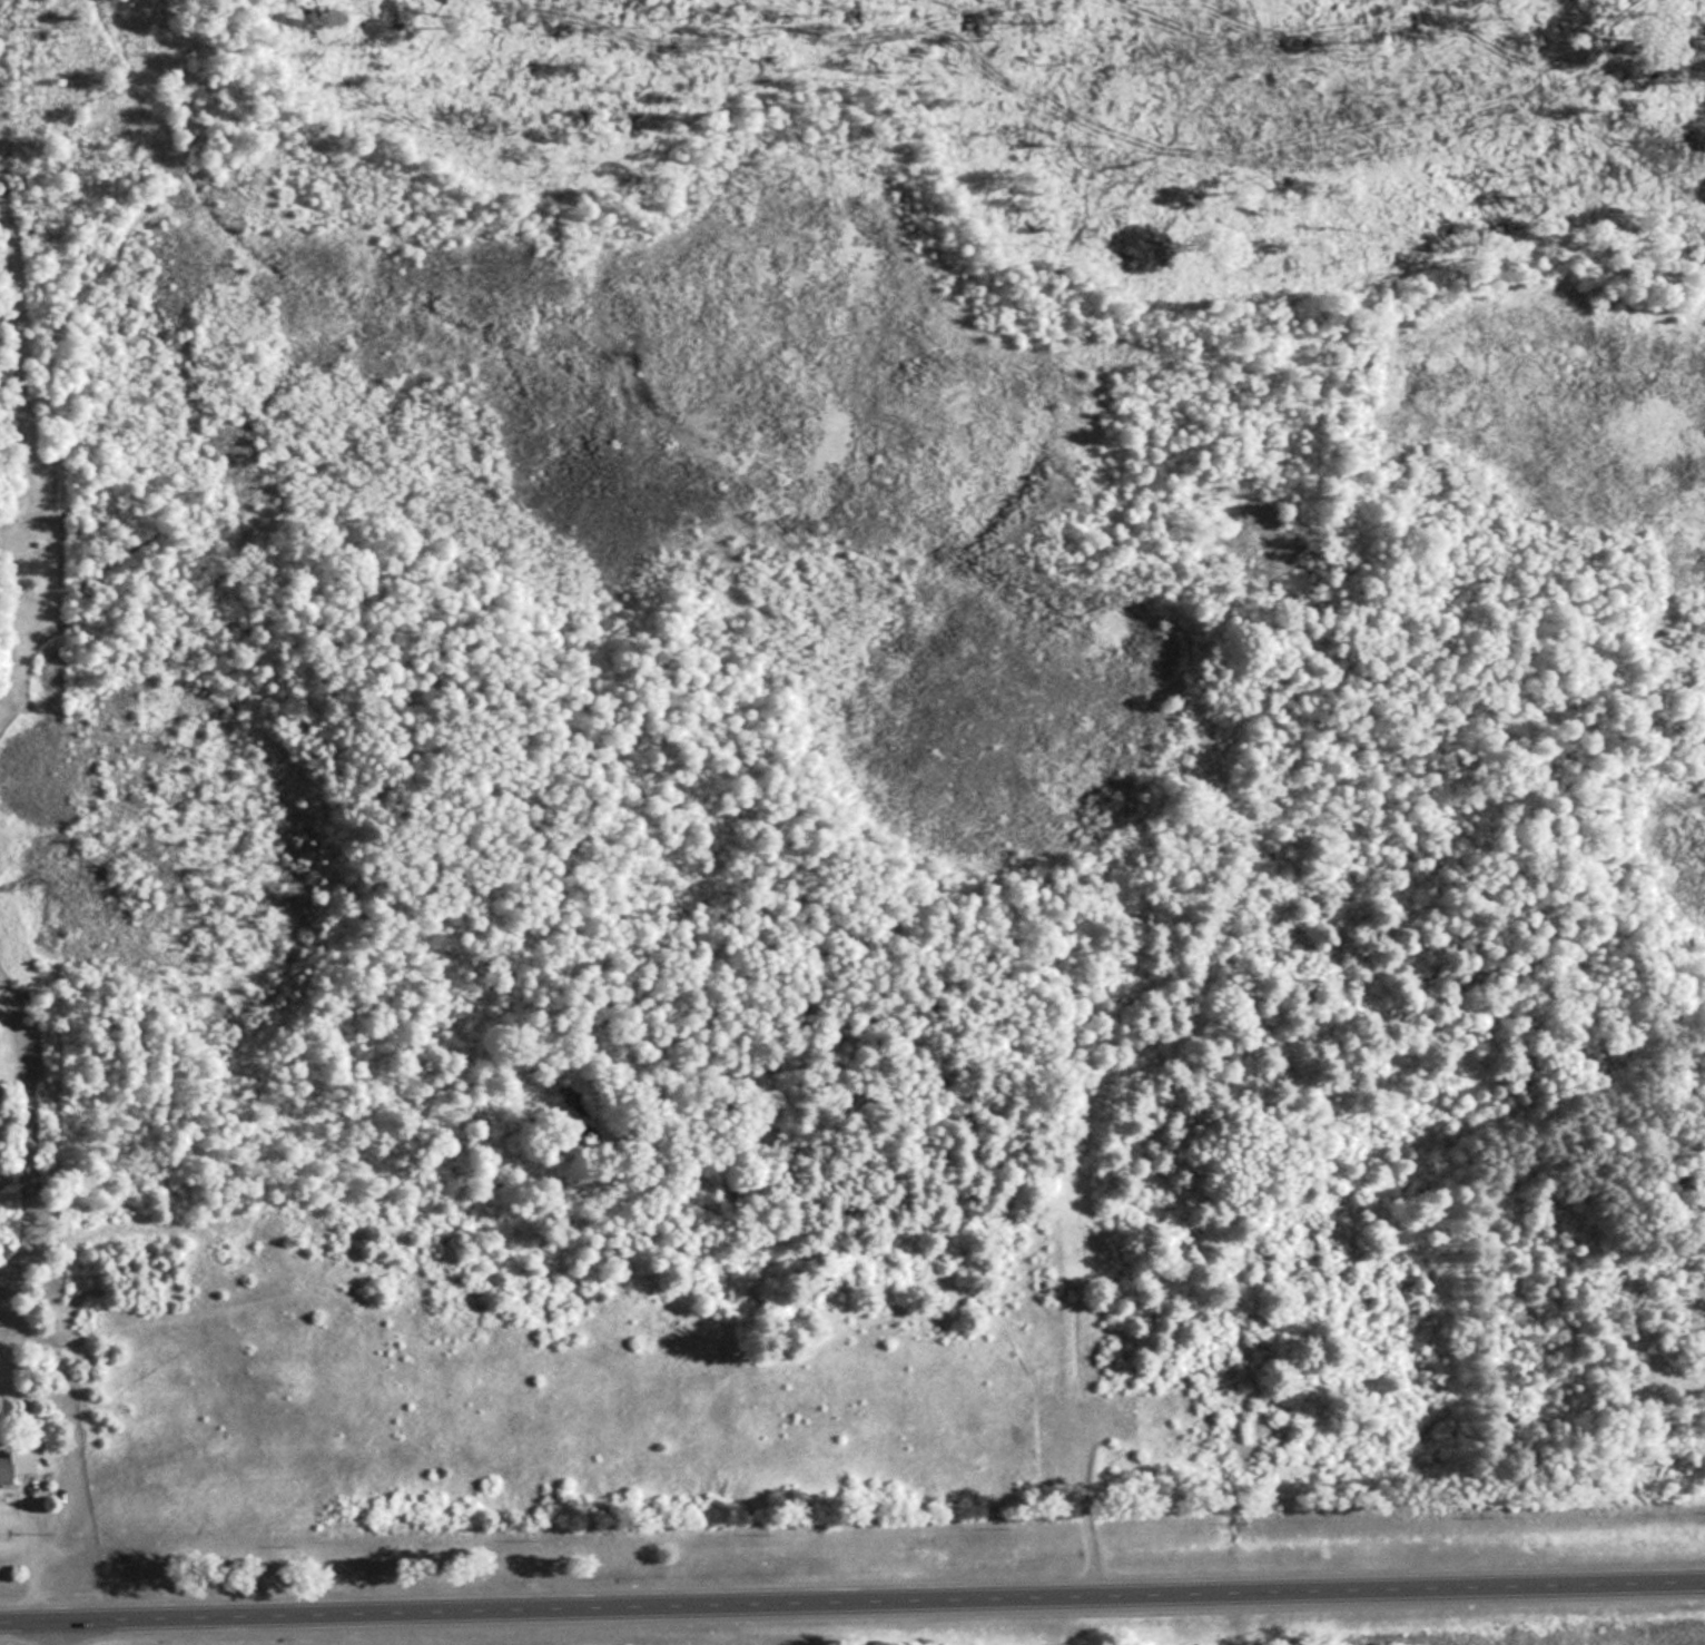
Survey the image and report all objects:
park: (868, 794)
building: (13, 1461)
road: (24, 1549)
road: (852, 1604)
road: (53, 1631)

